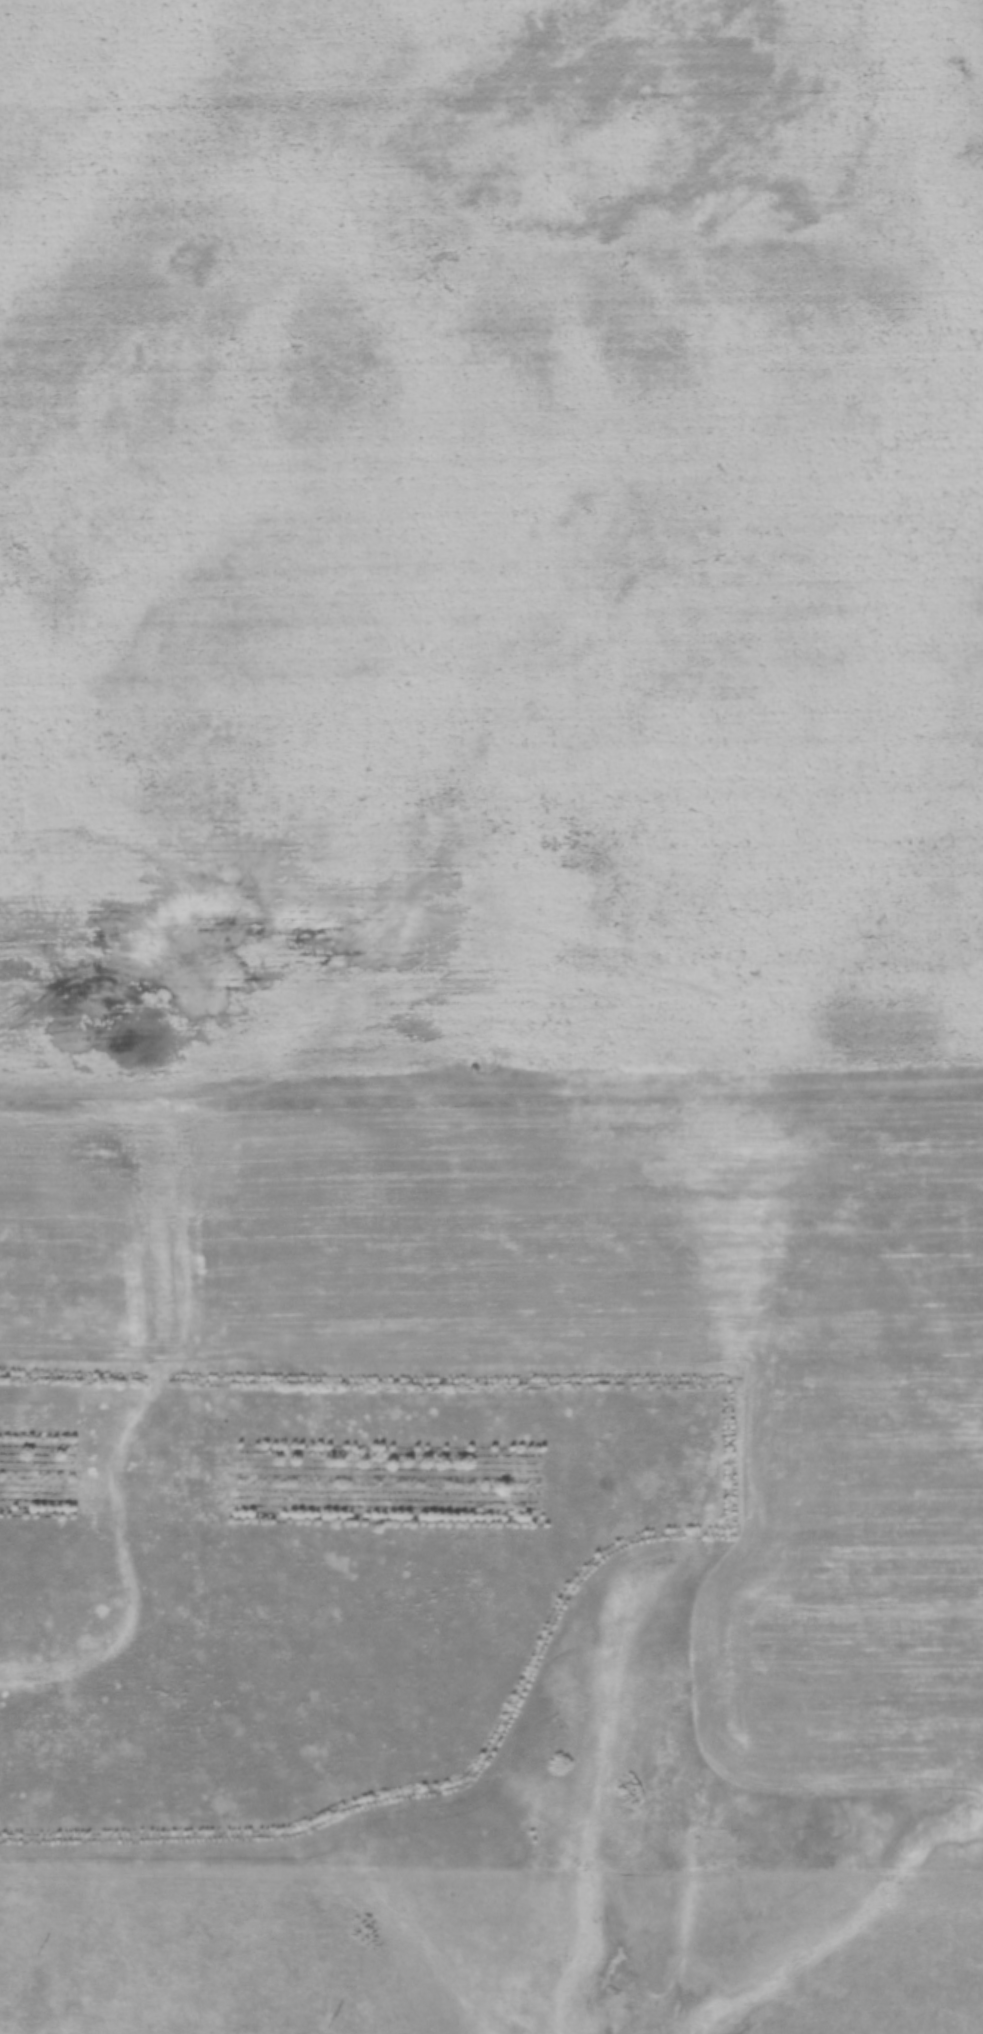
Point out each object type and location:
road: (491, 1093)

